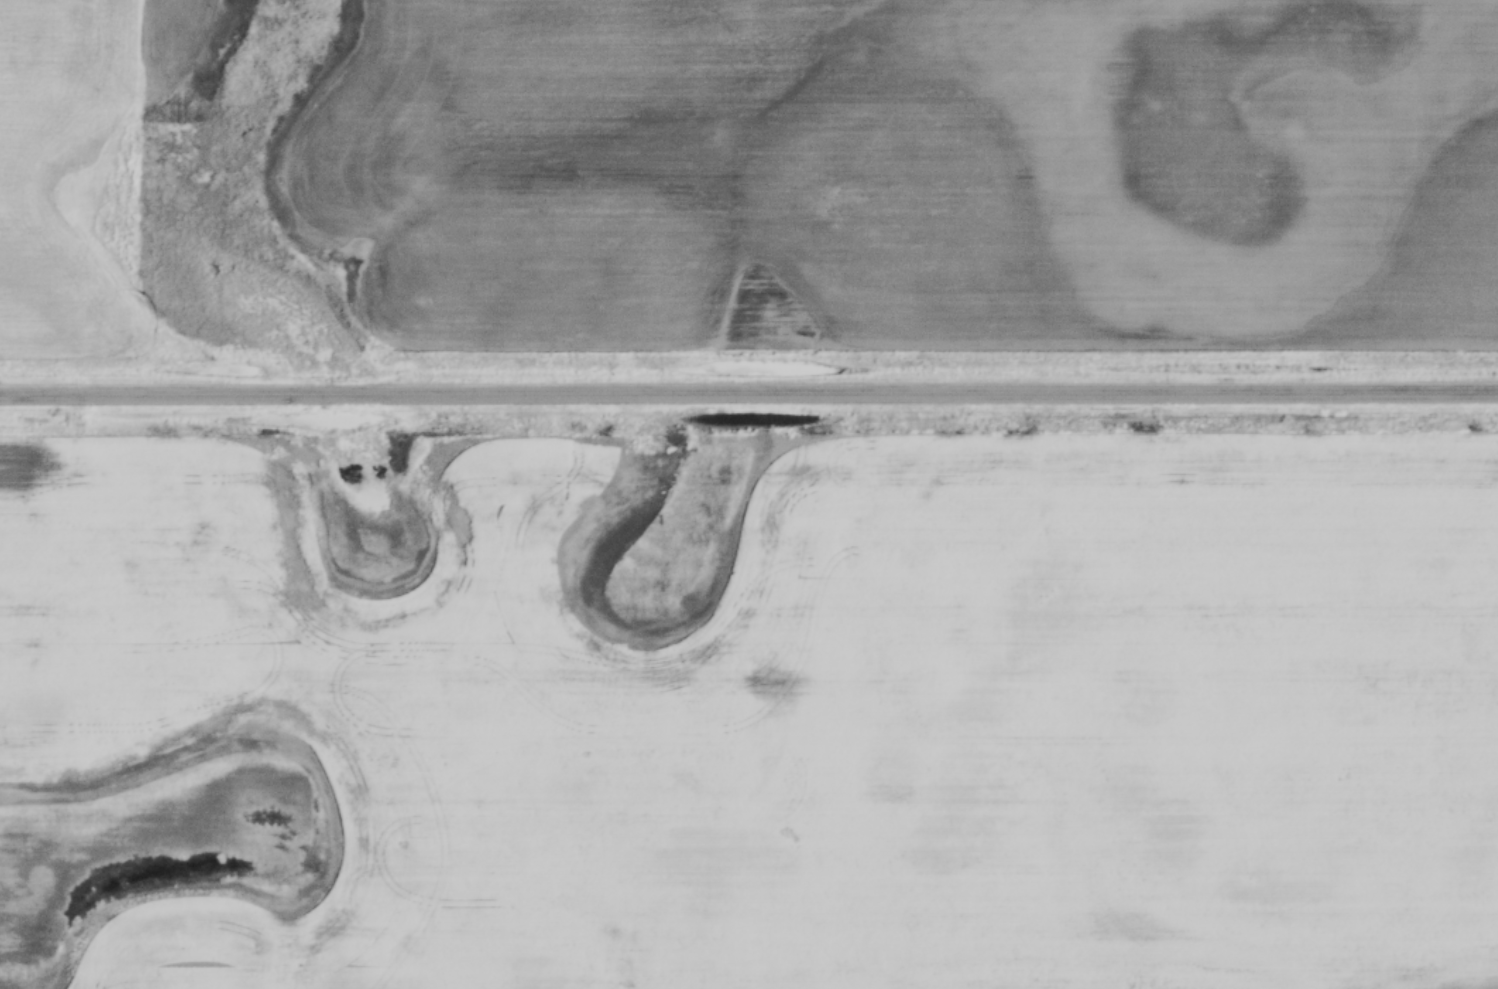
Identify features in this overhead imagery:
road: (748, 395)

